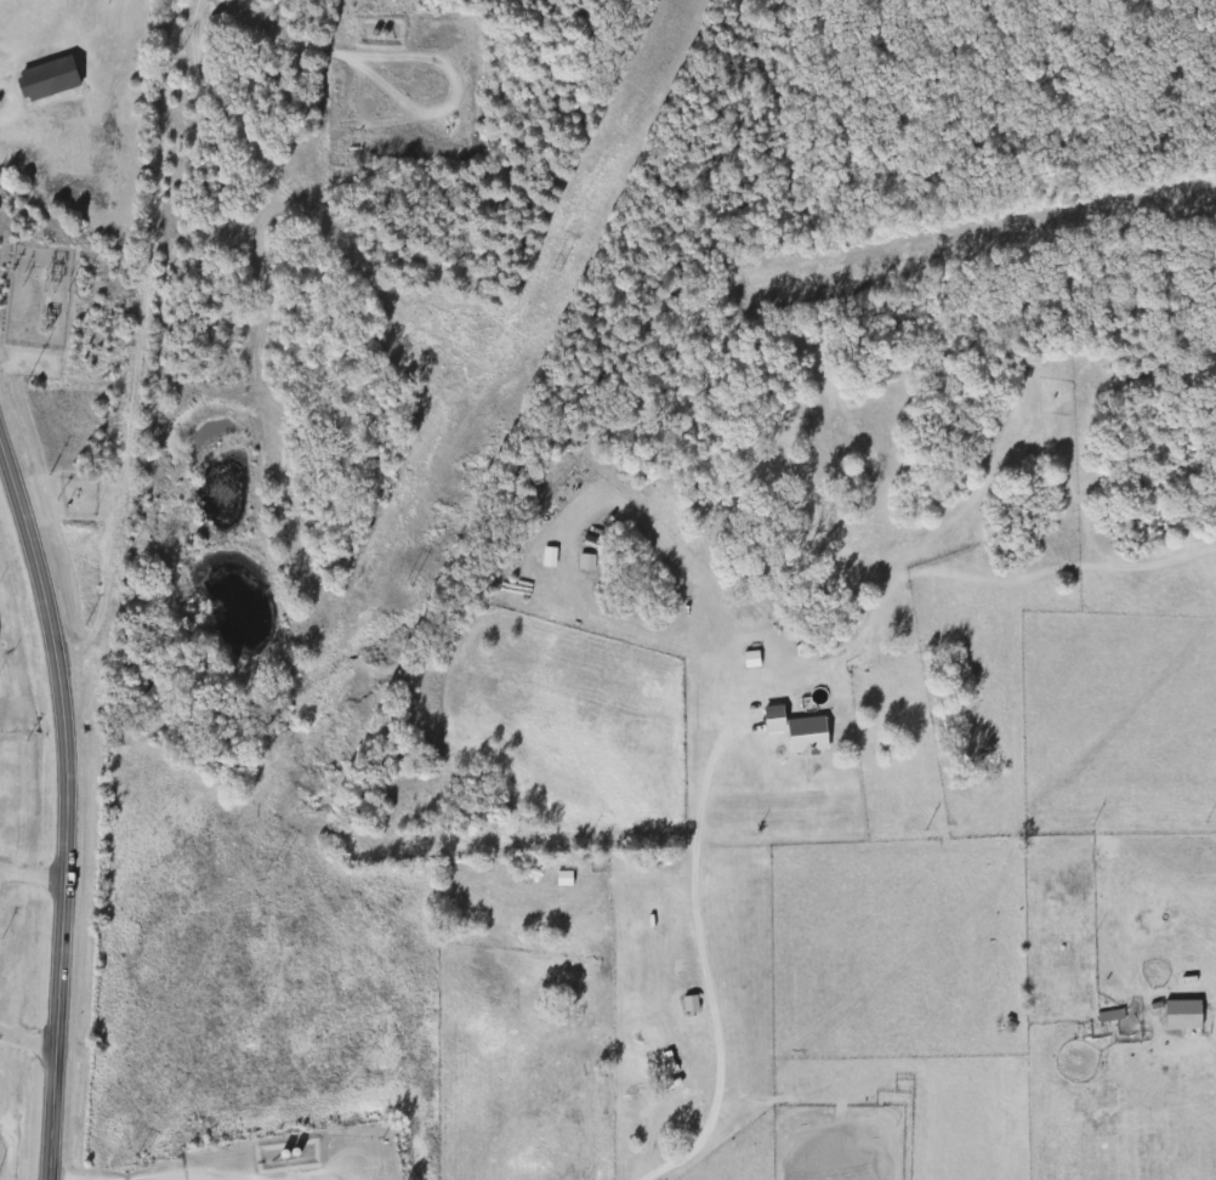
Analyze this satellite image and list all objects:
building: (50, 80)
power tower: (552, 268)
building: (551, 558)
building: (589, 563)
power tower: (405, 580)
building: (754, 660)
building: (775, 720)
building: (808, 737)
road: (66, 810)
power tower: (273, 863)
building: (566, 880)
building: (692, 1005)
road: (569, 1010)
building: (1113, 1016)
building: (1184, 1016)
road: (27, 1033)
power tower: (133, 1163)

